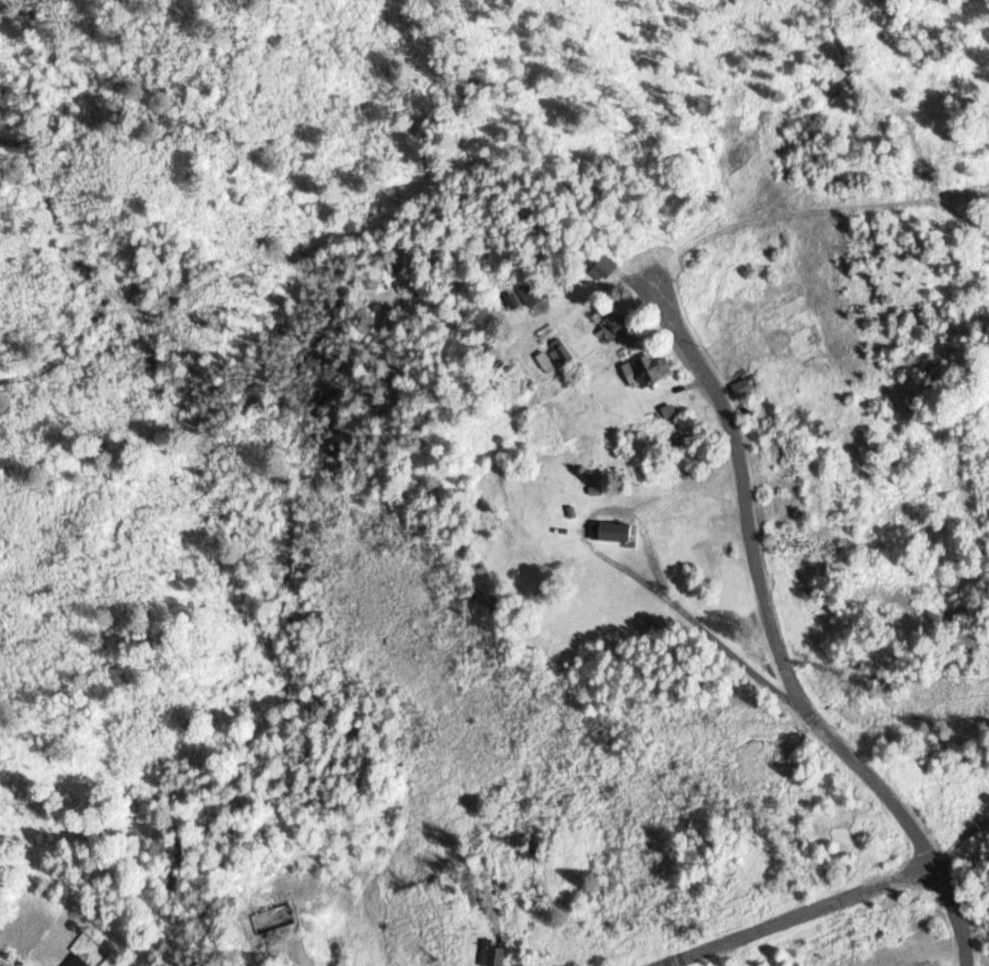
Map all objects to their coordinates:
building: (531, 292)
building: (618, 325)
building: (561, 352)
building: (649, 368)
building: (616, 531)
road: (777, 627)
road: (799, 915)
building: (272, 919)
building: (51, 934)
building: (491, 953)

